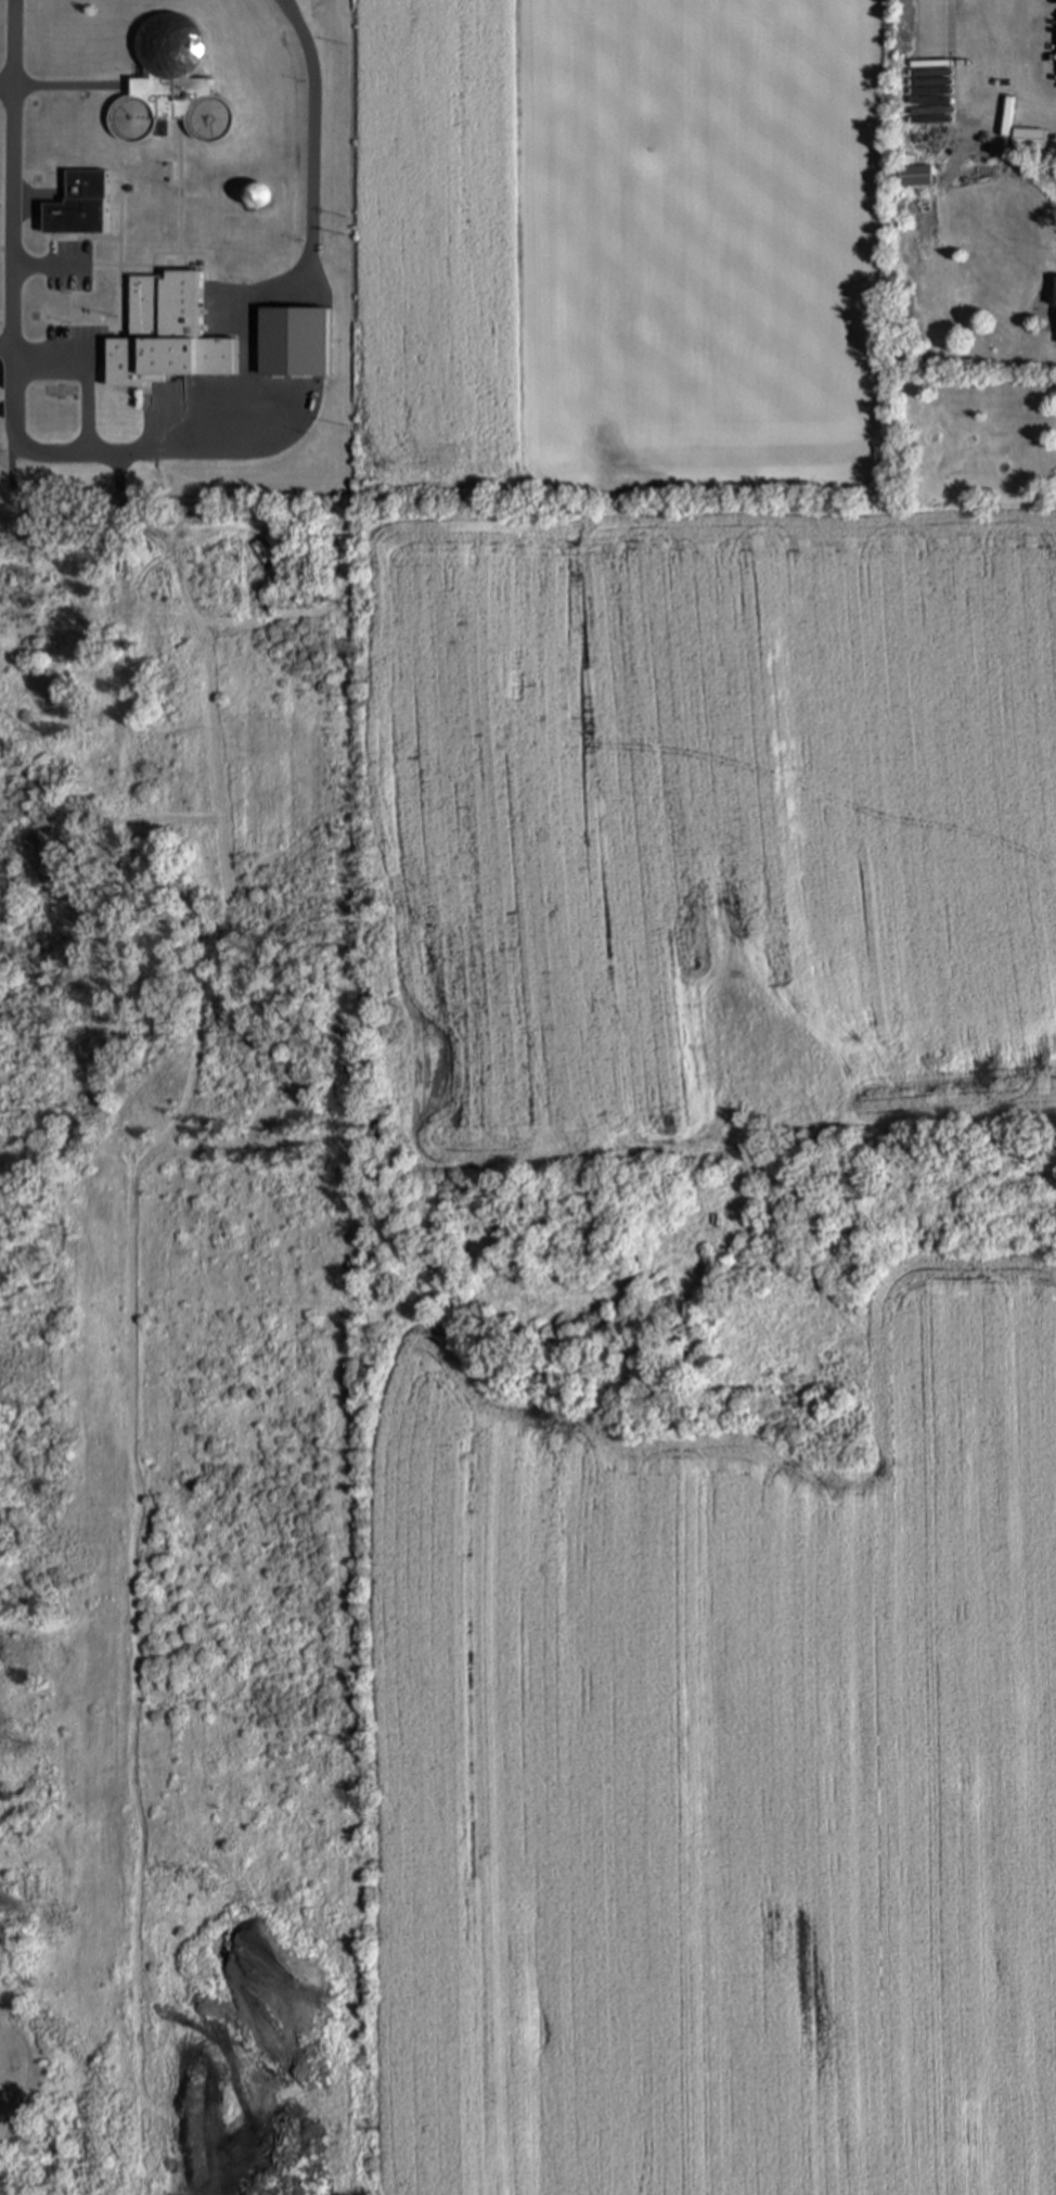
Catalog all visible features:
road: (1007, 67)
building: (167, 88)
road: (7, 89)
building: (1028, 140)
building: (915, 177)
road: (12, 204)
wastewater plant: (172, 246)
building: (1055, 316)
building: (167, 335)

